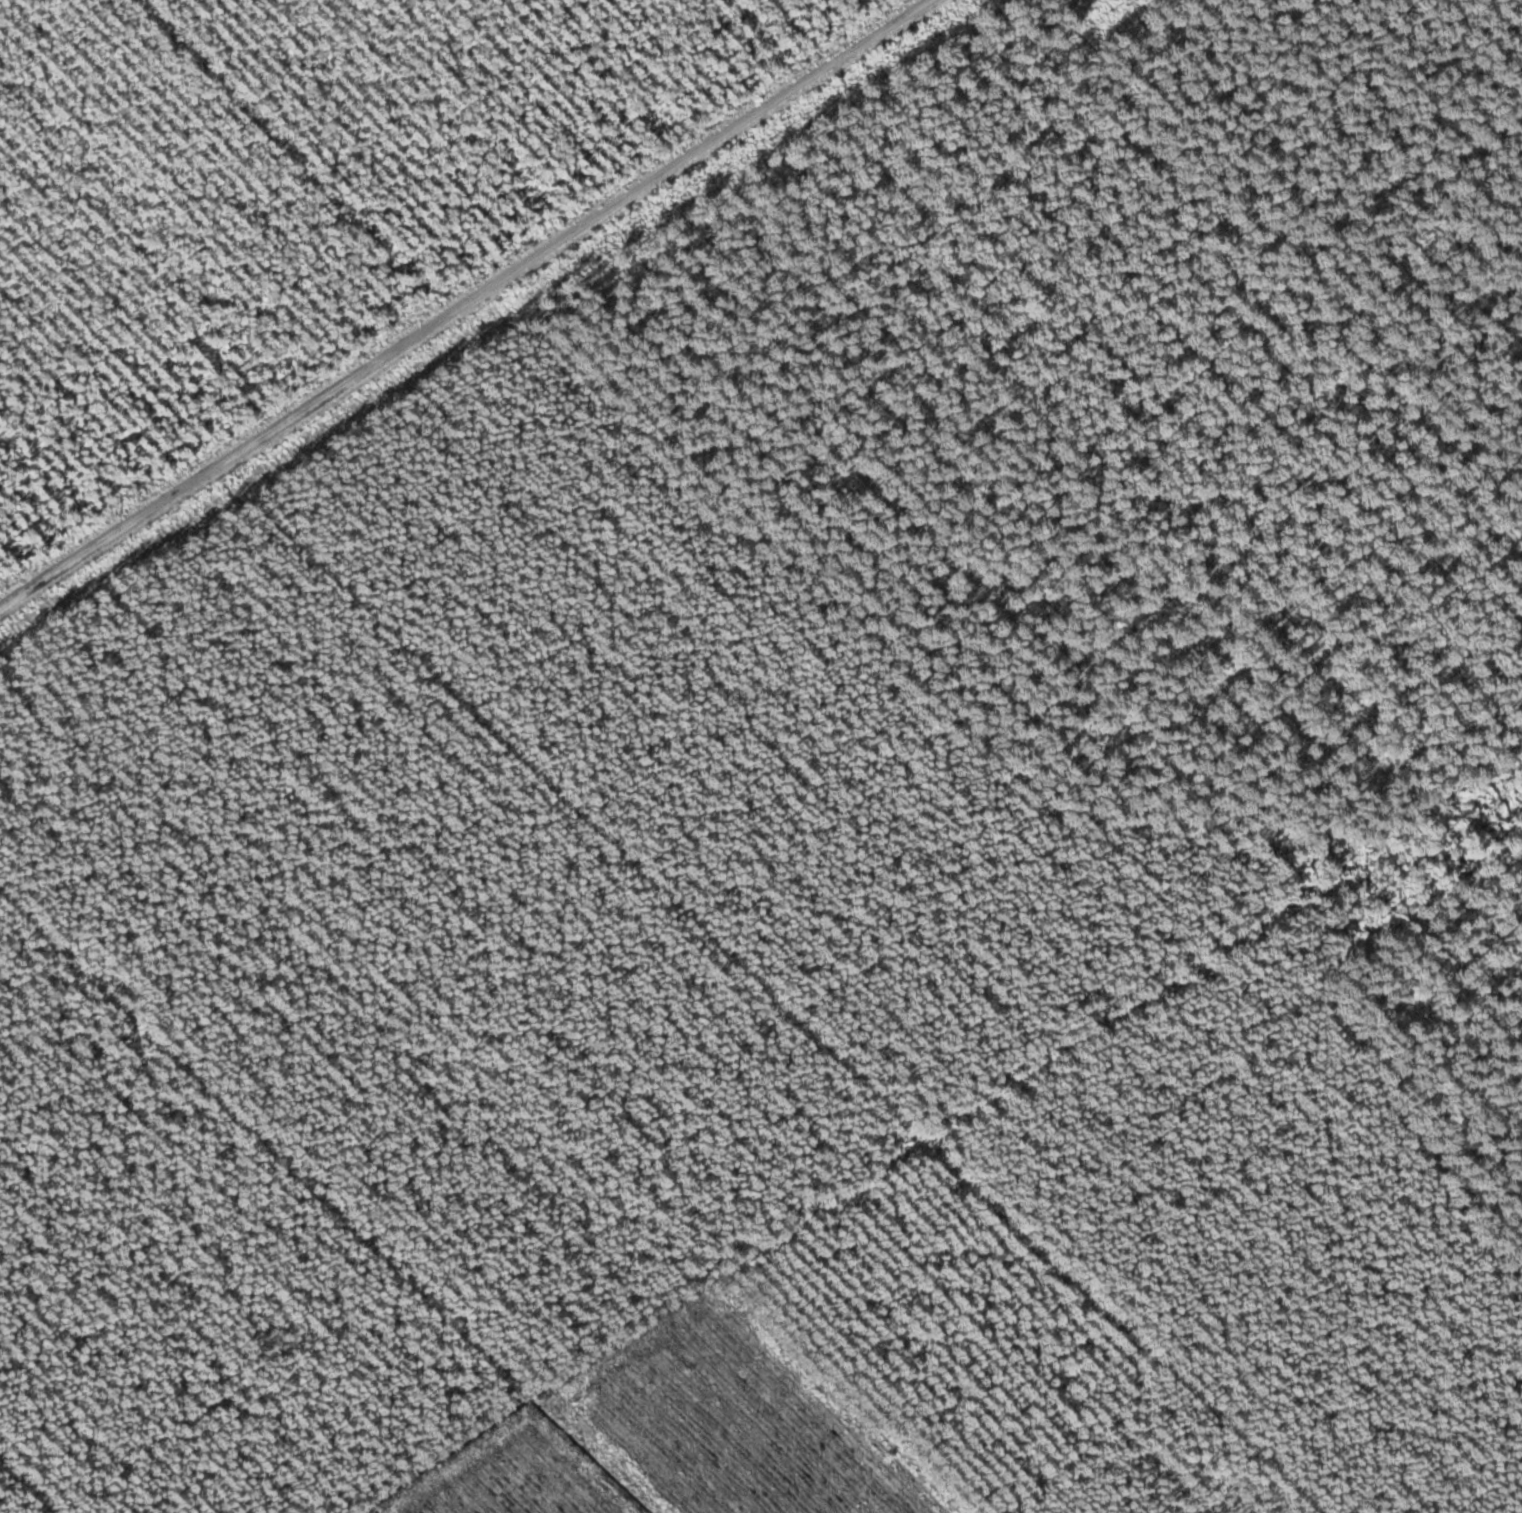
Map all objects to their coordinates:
road: (466, 300)

